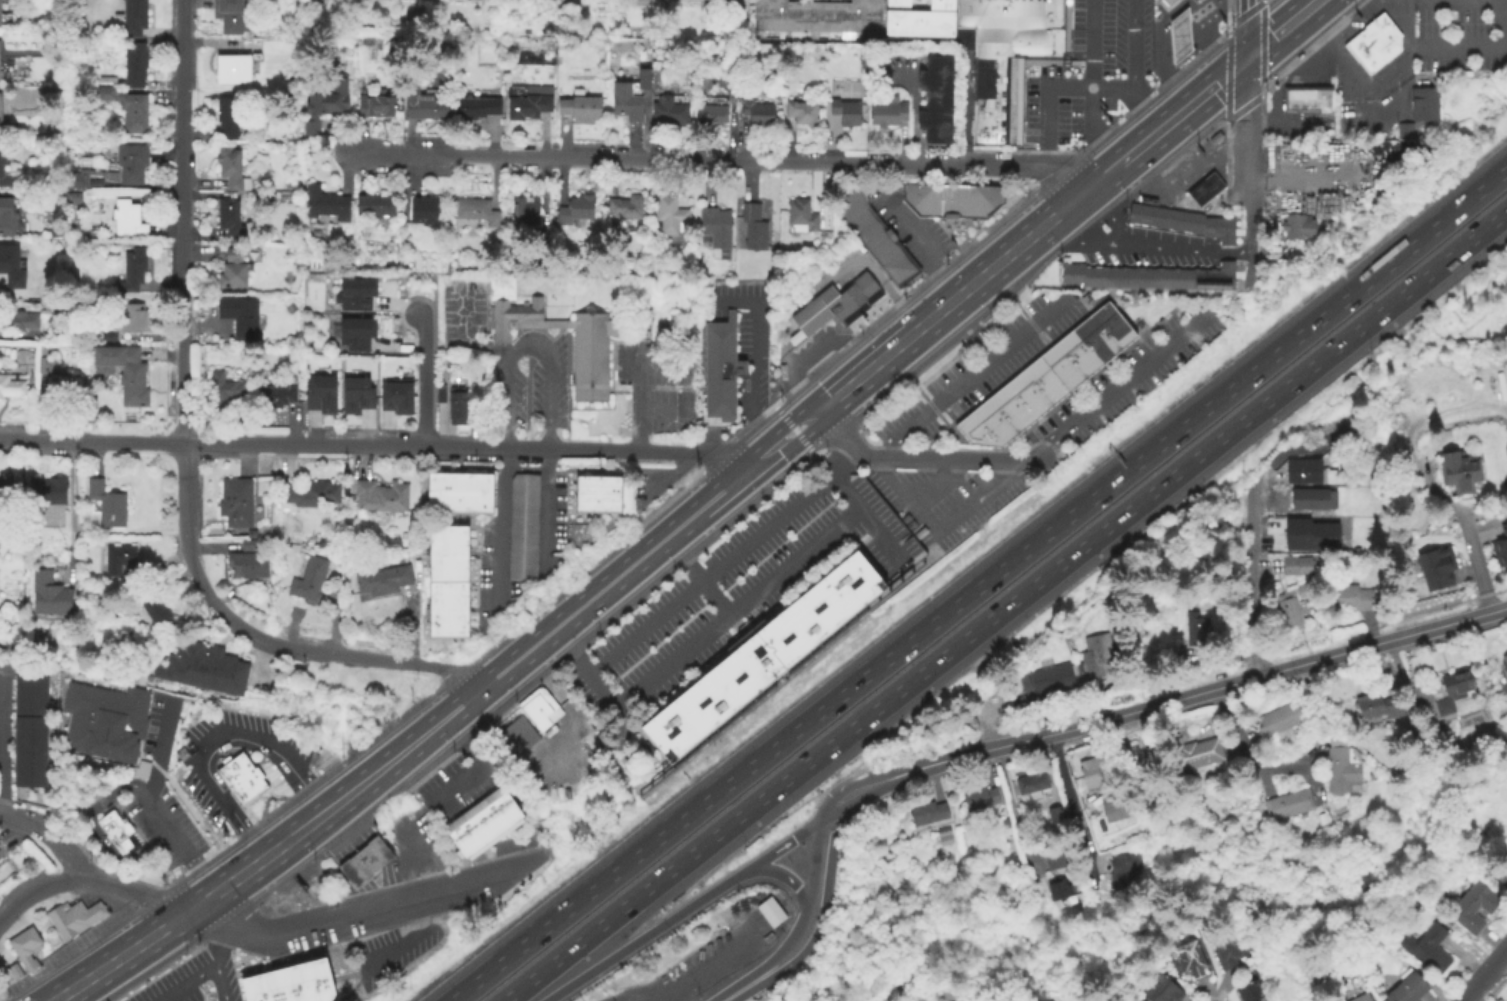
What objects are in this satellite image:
building: (1028, 1)
building: (652, 3)
road: (1308, 3)
building: (1167, 4)
road: (1500, 8)
building: (968, 12)
building: (990, 14)
building: (1007, 14)
building: (817, 15)
building: (1025, 15)
building: (1042, 15)
building: (1061, 15)
building: (229, 16)
building: (130, 17)
building: (918, 18)
road: (1246, 30)
road: (1283, 30)
building: (1383, 32)
building: (1178, 35)
gas station: (1178, 35)
road: (1290, 42)
building: (1012, 43)
road: (1160, 43)
building: (1374, 43)
building: (1060, 46)
road: (1456, 46)
building: (1363, 52)
traffic signals: (1246, 61)
building: (135, 63)
building: (996, 66)
building: (232, 67)
road: (1346, 67)
road: (1133, 70)
building: (0, 73)
road: (1404, 75)
building: (995, 80)
road: (1052, 87)
road: (1088, 89)
building: (629, 95)
building: (996, 95)
road: (1204, 96)
building: (935, 98)
building: (1308, 98)
road: (1246, 100)
building: (324, 104)
building: (375, 104)
building: (425, 104)
building: (526, 105)
building: (476, 106)
building: (126, 107)
building: (580, 107)
building: (1419, 108)
building: (668, 109)
building: (995, 109)
building: (756, 110)
building: (844, 110)
building: (887, 110)
building: (710, 112)
building: (798, 112)
building: (0, 113)
building: (227, 115)
building: (995, 124)
building: (1215, 136)
building: (995, 138)
road: (1122, 139)
building: (130, 161)
road: (662, 161)
road: (1247, 163)
road: (1030, 164)
building: (230, 167)
building: (7, 176)
building: (75, 179)
road: (1181, 181)
building: (1204, 190)
building: (72, 196)
building: (853, 196)
building: (991, 196)
building: (918, 197)
building: (941, 199)
building: (974, 199)
building: (957, 200)
building: (325, 202)
building: (374, 203)
building: (625, 206)
building: (574, 208)
building: (423, 209)
building: (475, 209)
building: (524, 209)
building: (669, 213)
building: (800, 213)
building: (6, 215)
building: (228, 215)
building: (126, 217)
road: (1108, 217)
building: (1184, 219)
building: (863, 222)
building: (752, 225)
building: (1297, 225)
building: (714, 226)
road: (1248, 232)
road: (922, 242)
building: (881, 244)
road: (1138, 246)
building: (10, 265)
building: (899, 267)
building: (131, 268)
building: (231, 268)
road: (990, 271)
building: (1148, 276)
road: (811, 282)
road: (183, 290)
building: (355, 292)
building: (835, 302)
building: (646, 313)
building: (239, 314)
building: (1108, 314)
building: (131, 316)
building: (18, 319)
building: (1096, 325)
building: (670, 329)
building: (355, 332)
building: (108, 335)
road: (830, 338)
building: (1078, 338)
road: (461, 340)
road: (529, 342)
building: (590, 342)
building: (1112, 342)
road: (753, 355)
building: (1051, 360)
building: (42, 363)
road: (661, 364)
building: (260, 366)
building: (720, 367)
building: (1078, 369)
building: (123, 370)
road: (424, 379)
building: (1027, 380)
building: (12, 383)
road: (1121, 383)
building: (222, 387)
building: (63, 388)
building: (319, 392)
building: (439, 392)
building: (356, 393)
building: (1011, 393)
building: (276, 394)
building: (1048, 394)
building: (396, 396)
road: (634, 400)
building: (455, 406)
building: (994, 407)
road: (661, 410)
building: (1021, 415)
building: (978, 419)
road: (791, 422)
building: (966, 429)
road: (797, 431)
road: (894, 433)
building: (995, 435)
road: (803, 438)
building: (1427, 440)
road: (374, 446)
road: (744, 451)
road: (1411, 456)
road: (919, 457)
road: (757, 463)
building: (1463, 467)
building: (1304, 471)
road: (667, 481)
building: (8, 486)
road: (936, 486)
building: (50, 490)
building: (458, 491)
building: (310, 492)
building: (597, 492)
building: (379, 494)
building: (1319, 498)
building: (235, 500)
building: (106, 502)
road: (549, 507)
road: (71, 511)
road: (866, 515)
building: (522, 526)
road: (493, 528)
building: (250, 532)
building: (1309, 533)
building: (1502, 541)
building: (246, 543)
building: (446, 552)
building: (117, 556)
road: (725, 561)
building: (246, 563)
building: (1436, 563)
building: (1301, 565)
road: (1478, 565)
road: (696, 576)
building: (307, 577)
building: (381, 580)
road: (608, 585)
road: (982, 585)
road: (1253, 588)
building: (48, 592)
building: (1353, 595)
road: (1007, 606)
building: (1290, 607)
building: (446, 609)
building: (152, 610)
road: (1452, 623)
building: (1197, 628)
road: (240, 630)
road: (700, 635)
building: (1099, 653)
building: (762, 654)
road: (395, 662)
building: (1505, 665)
building: (203, 666)
building: (1056, 677)
building: (1028, 684)
building: (1455, 687)
building: (539, 707)
building: (1380, 708)
road: (571, 709)
road: (1145, 710)
building: (1280, 721)
building: (101, 722)
building: (33, 730)
building: (516, 734)
road: (215, 737)
building: (590, 744)
road: (1244, 753)
building: (1196, 755)
building: (1130, 759)
road: (479, 766)
building: (1345, 766)
building: (141, 768)
building: (1090, 772)
building: (240, 776)
building: (1030, 782)
road: (846, 785)
road: (1007, 792)
road: (865, 798)
building: (982, 798)
road: (1072, 803)
road: (332, 804)
building: (1291, 804)
building: (1117, 808)
building: (931, 812)
building: (1058, 816)
road: (827, 819)
road: (88, 822)
building: (483, 822)
road: (337, 823)
building: (117, 831)
road: (49, 834)
building: (947, 834)
road: (177, 840)
road: (783, 846)
road: (1148, 846)
building: (364, 859)
building: (1055, 859)
building: (1122, 871)
building: (1503, 874)
road: (789, 879)
road: (44, 882)
road: (1182, 884)
road: (392, 885)
road: (123, 888)
building: (1061, 889)
road: (433, 892)
road: (181, 895)
road: (810, 901)
road: (825, 904)
building: (1476, 906)
road: (182, 909)
building: (95, 910)
building: (769, 910)
building: (76, 915)
building: (60, 920)
road: (283, 932)
road: (179, 934)
road: (55, 935)
road: (649, 936)
road: (403, 940)
building: (24, 944)
road: (1204, 945)
building: (1435, 949)
building: (1227, 950)
road: (118, 956)
building: (1189, 958)
road: (214, 961)
building: (13, 970)
road: (1483, 973)
building: (290, 982)
road: (185, 983)
road: (676, 984)
flagpole: (203, 985)
road: (749, 985)
building: (1412, 988)
building: (1163, 989)
building: (1254, 991)
building: (1366, 997)
building: (1090, 1000)

